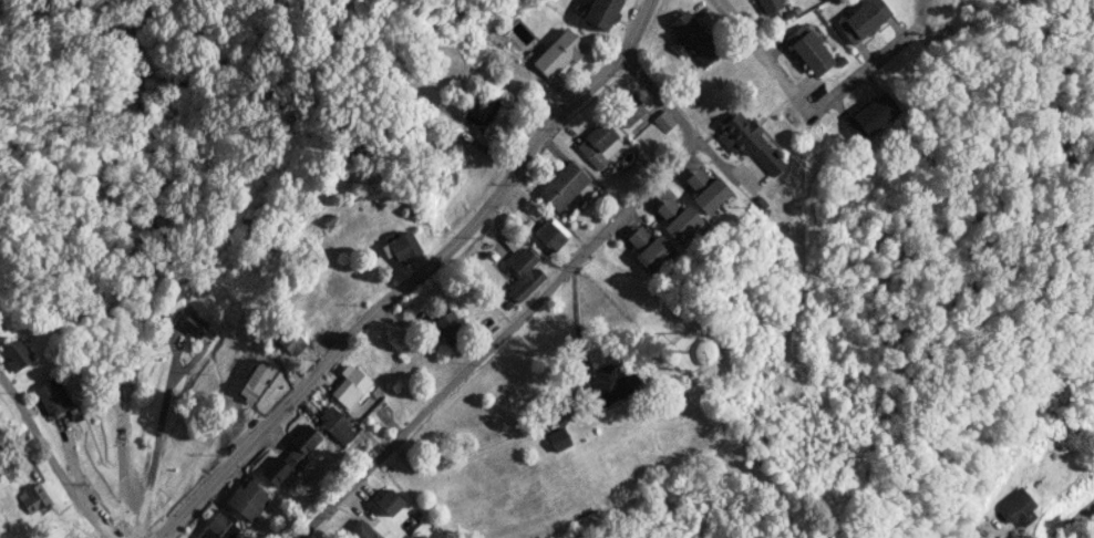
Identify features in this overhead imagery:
building: (768, 6)
building: (601, 12)
building: (863, 20)
building: (691, 40)
building: (808, 50)
building: (559, 53)
road: (658, 97)
road: (802, 108)
building: (479, 112)
building: (629, 112)
building: (871, 116)
building: (663, 121)
building: (747, 142)
building: (599, 144)
building: (563, 186)
building: (705, 190)
building: (677, 219)
building: (550, 234)
building: (401, 247)
building: (648, 248)
building: (524, 275)
road: (416, 279)
building: (336, 286)
building: (446, 323)
building: (193, 324)
building: (290, 341)
road: (497, 342)
building: (692, 353)
building: (16, 355)
building: (256, 381)
building: (611, 384)
building: (350, 386)
building: (52, 397)
building: (336, 423)
building: (558, 439)
building: (290, 457)
road: (50, 461)
building: (33, 498)
building: (248, 499)
building: (389, 501)
building: (1018, 507)
road: (1072, 520)
building: (588, 523)
building: (219, 525)
building: (360, 530)

